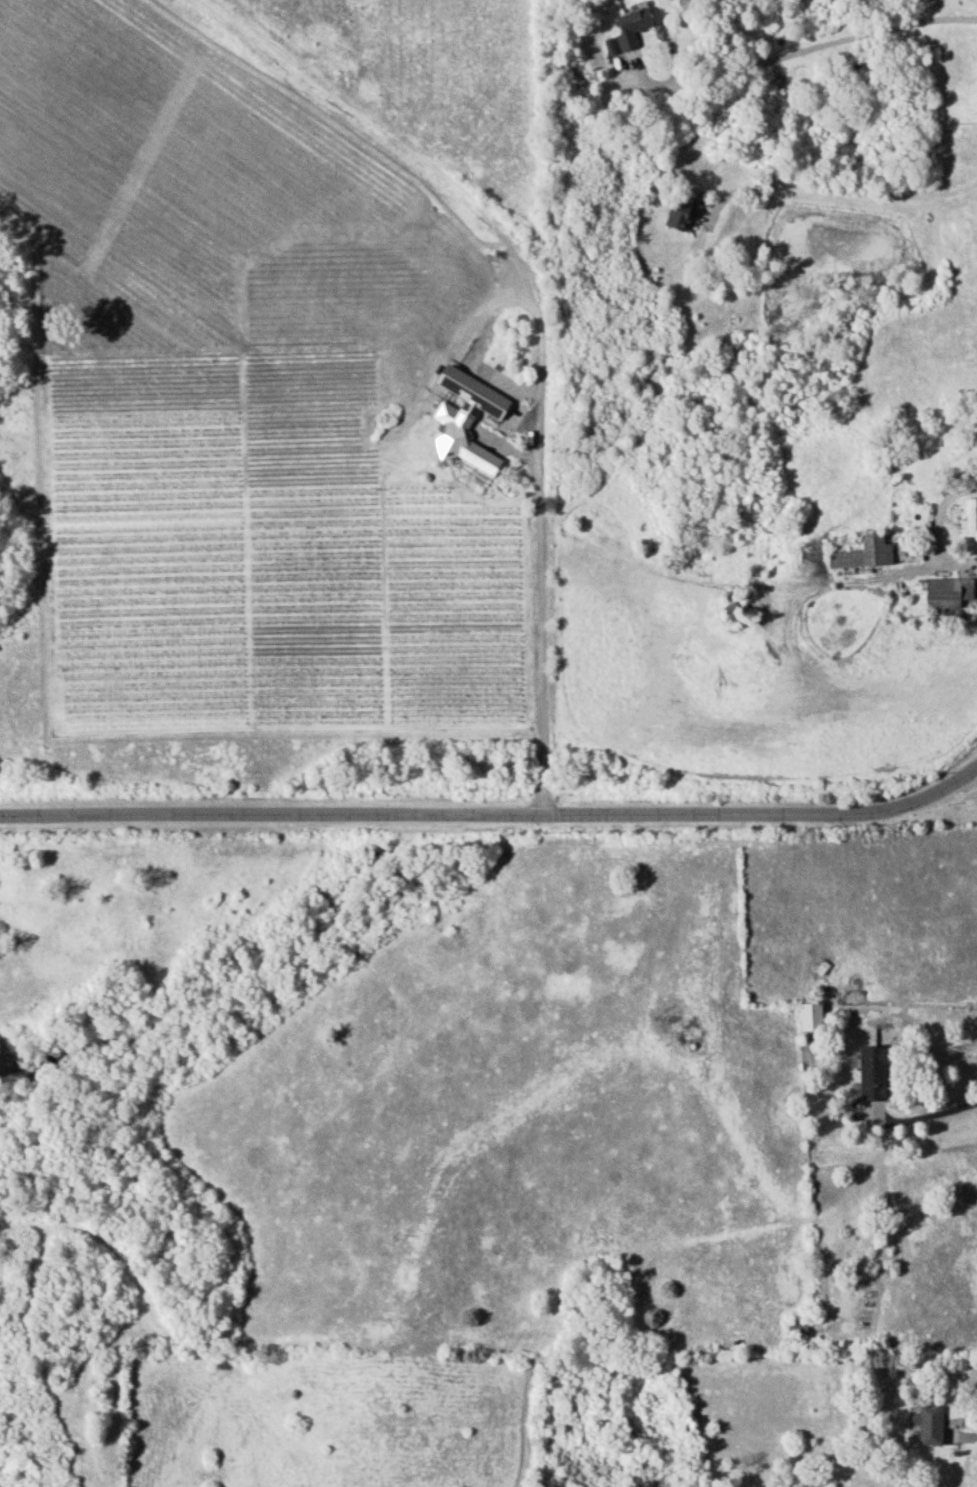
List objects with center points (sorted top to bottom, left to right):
building: (628, 29)
road: (813, 44)
road: (843, 187)
building: (679, 214)
building: (467, 419)
building: (969, 516)
road: (933, 531)
building: (862, 552)
building: (946, 591)
road: (544, 645)
road: (495, 815)
building: (809, 1016)
building: (870, 1074)
road: (926, 1115)
building: (795, 1327)
road: (962, 1423)
building: (928, 1424)

